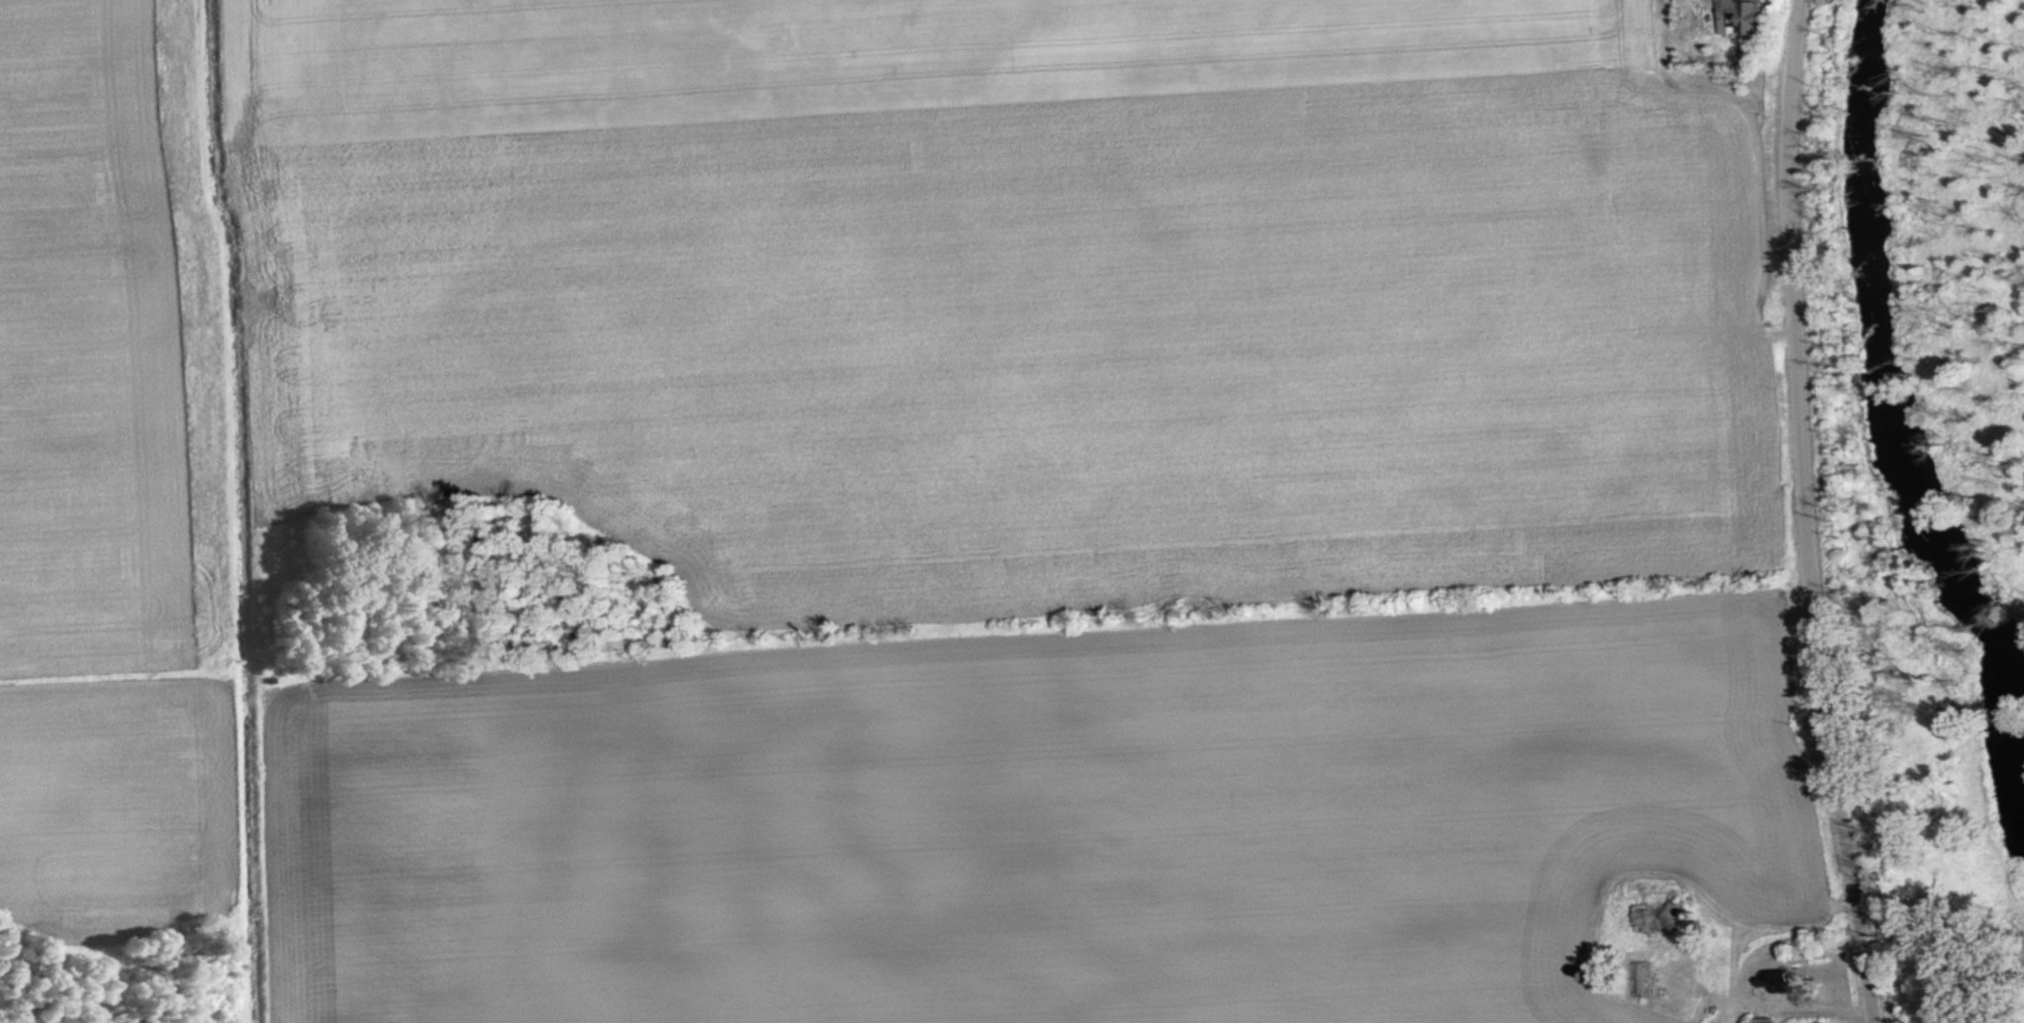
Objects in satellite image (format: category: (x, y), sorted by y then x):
building: (1739, 16)
river: (1897, 373)
road: (1813, 513)
building: (1641, 923)
building: (1771, 983)
building: (1638, 984)

